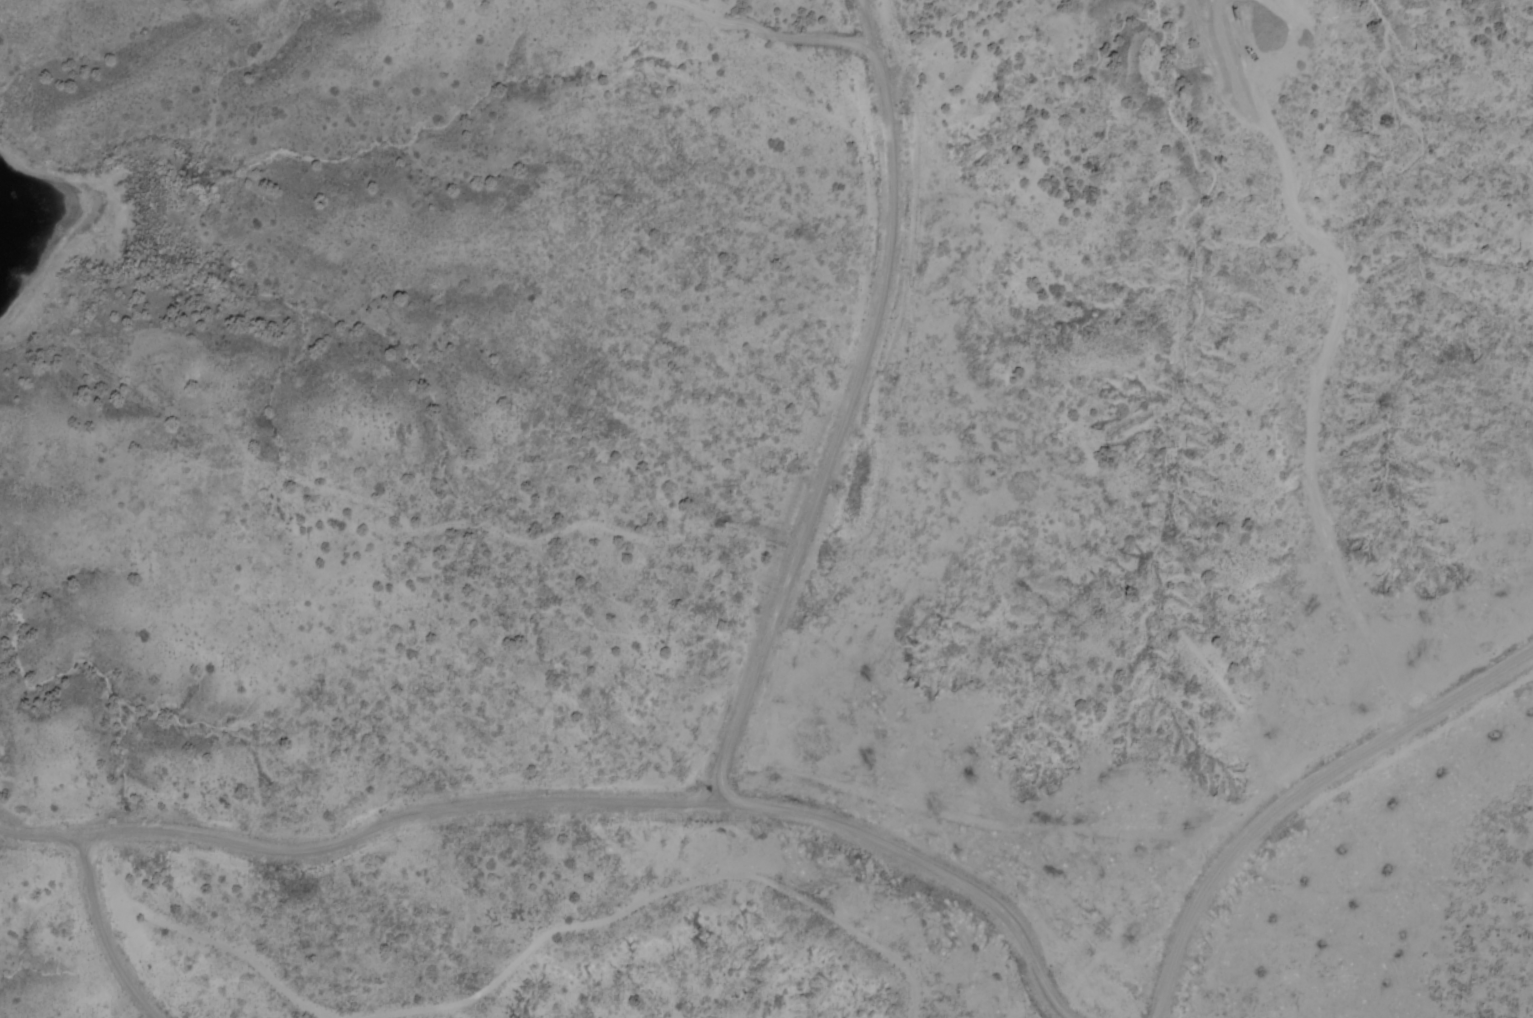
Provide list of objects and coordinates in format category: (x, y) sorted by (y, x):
road: (848, 407)
road: (1299, 792)
road: (618, 801)
road: (49, 838)
road: (106, 934)

